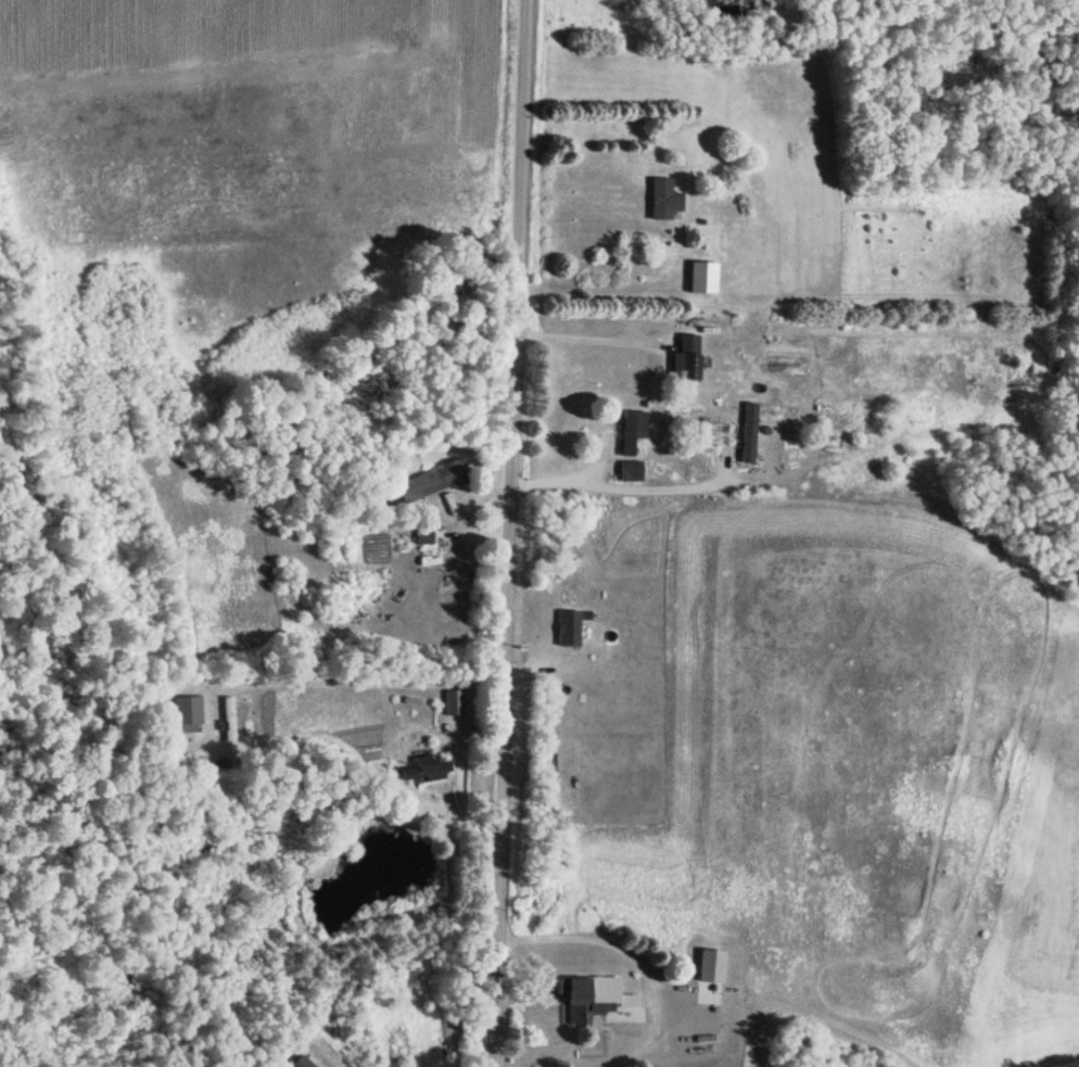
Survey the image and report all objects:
building: (660, 201)
building: (699, 279)
building: (682, 360)
building: (629, 431)
building: (746, 434)
building: (627, 471)
building: (430, 483)
road: (496, 533)
building: (566, 630)
building: (187, 716)
building: (227, 721)
crop: (835, 760)
building: (422, 771)
road: (406, 910)
building: (699, 971)
building: (585, 1000)
building: (690, 1028)

